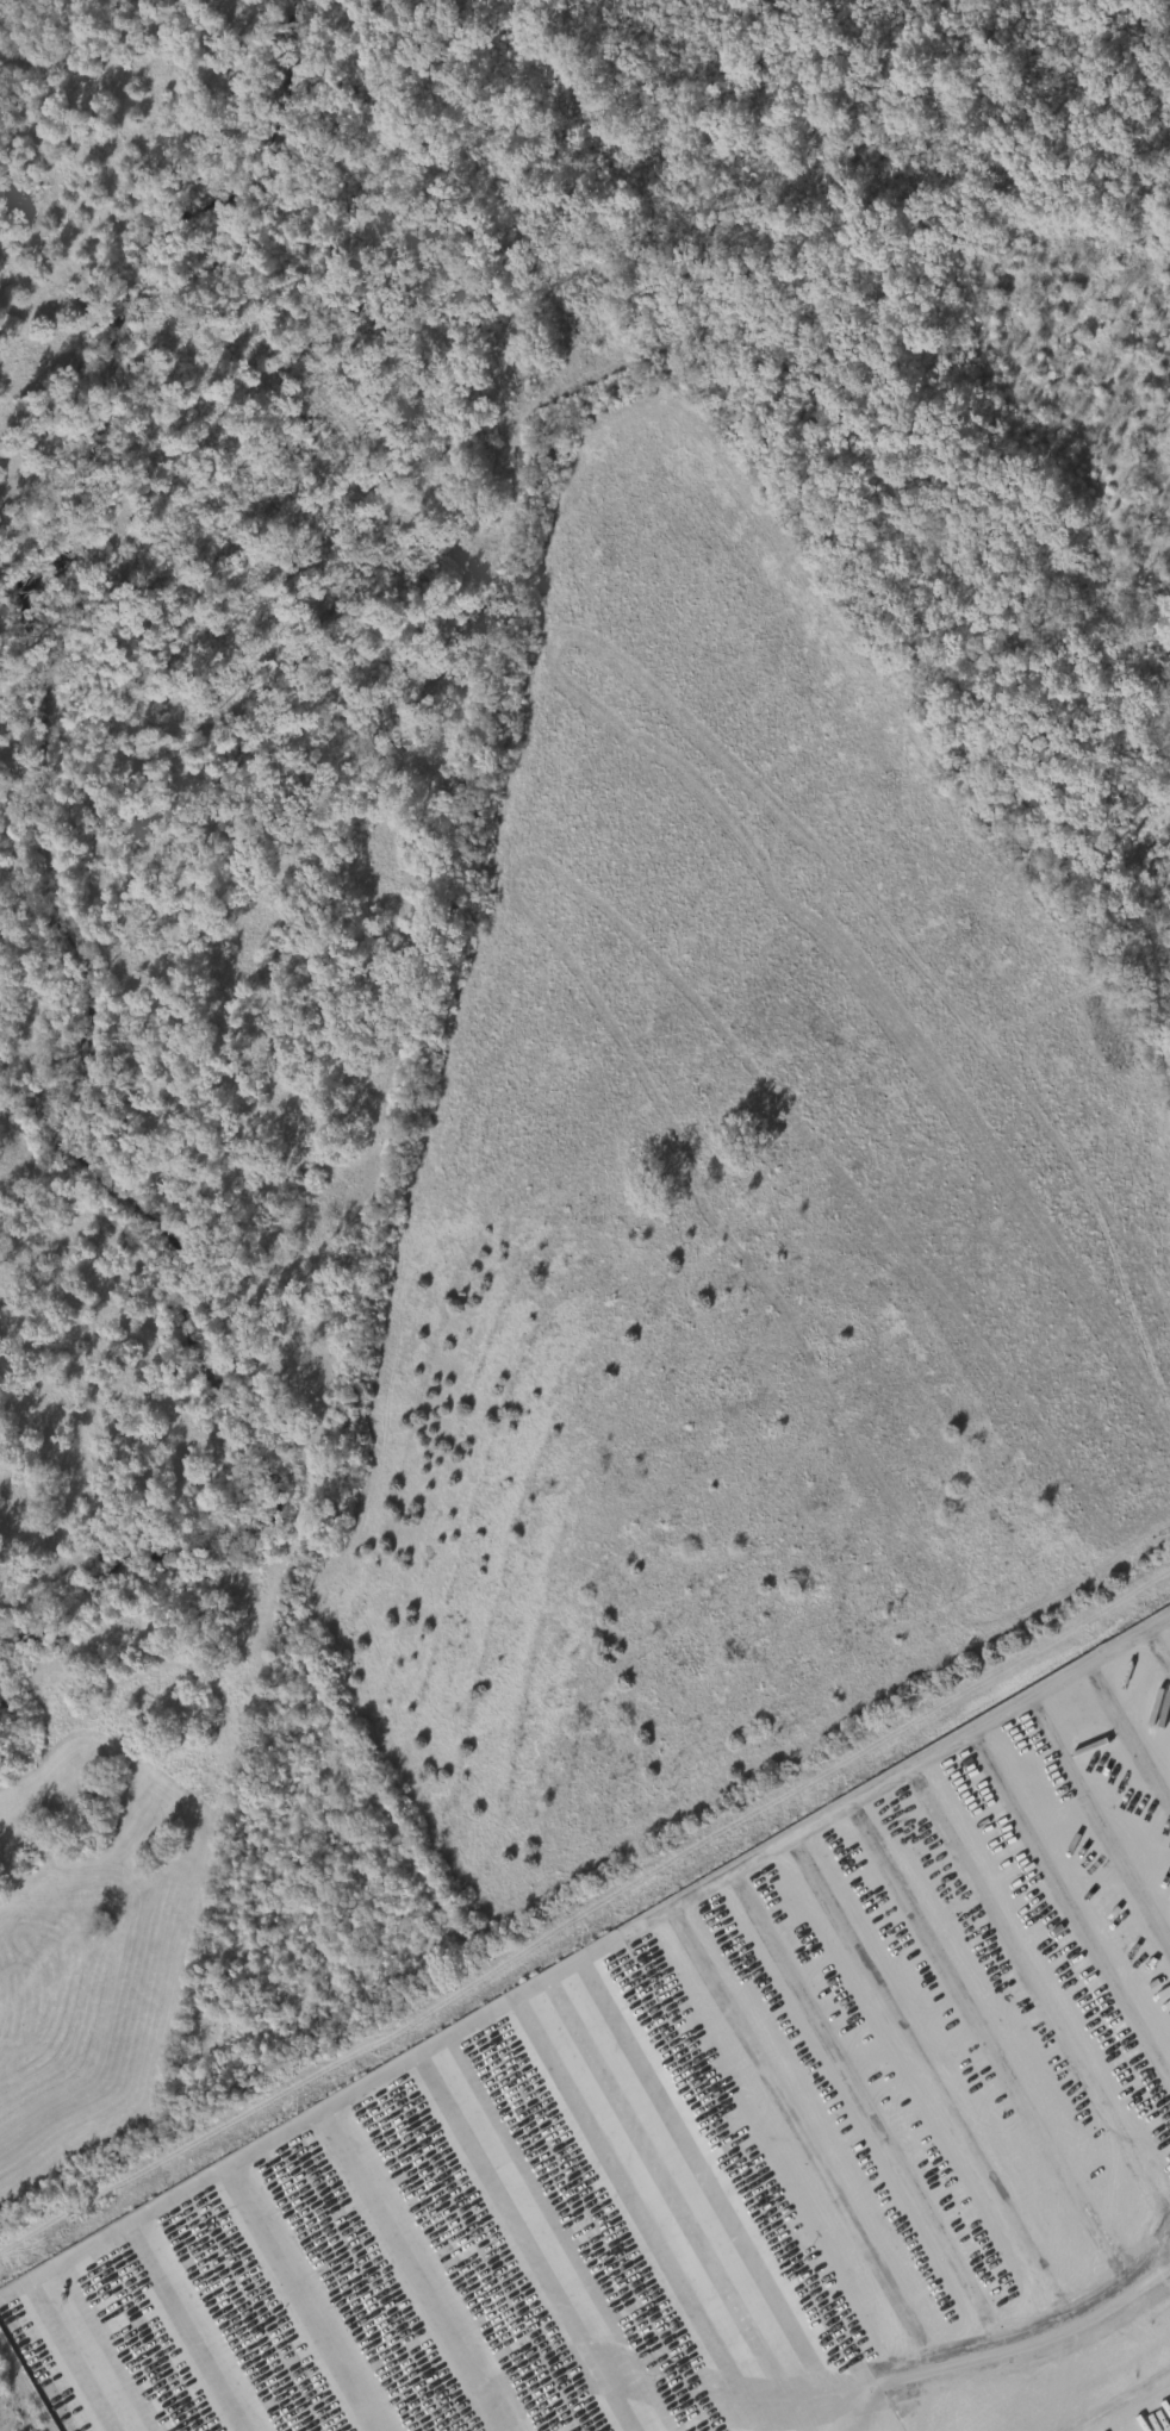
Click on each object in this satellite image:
road: (586, 1913)
road: (534, 1986)
road: (685, 2188)
road: (994, 2343)

